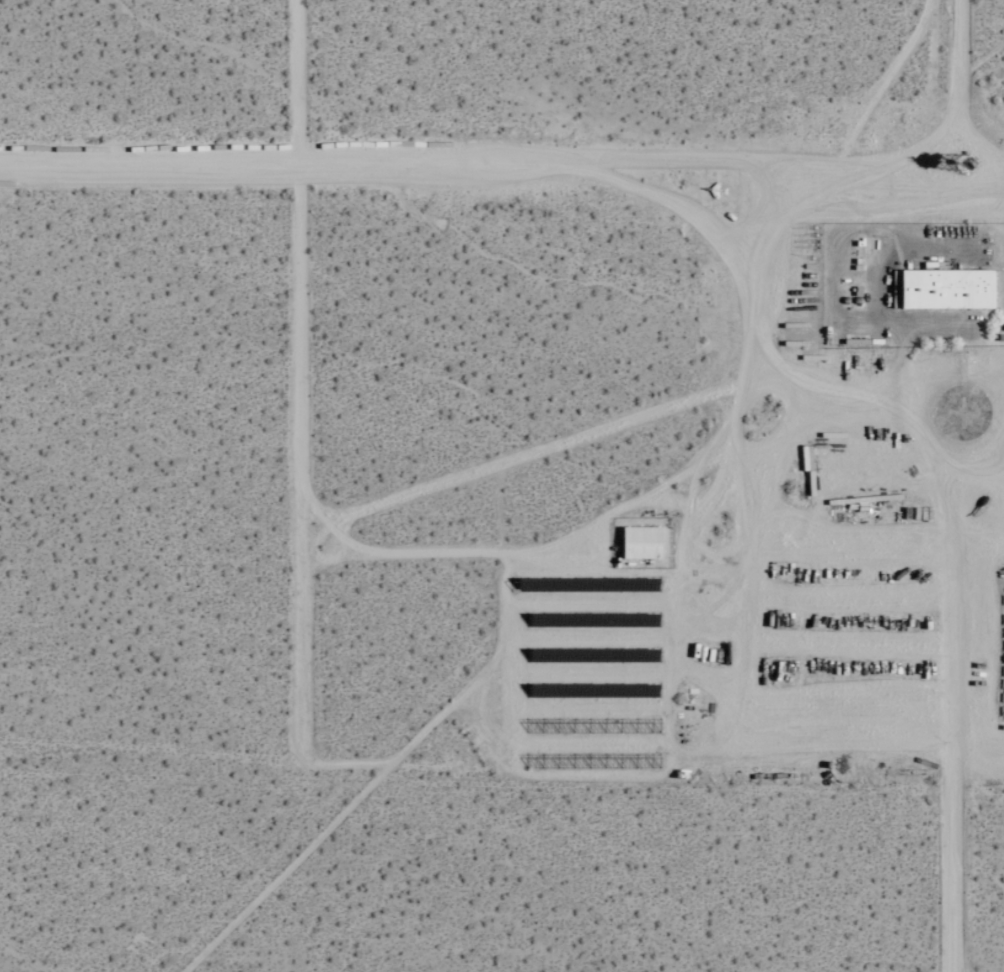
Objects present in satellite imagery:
road: (950, 124)
road: (982, 129)
road: (1003, 147)
road: (506, 155)
building: (943, 288)
helipad: (962, 411)
road: (309, 424)
road: (526, 453)
road: (941, 464)
road: (598, 521)
building: (643, 542)
road: (410, 548)
building: (615, 584)
building: (592, 619)
building: (607, 654)
building: (591, 690)

